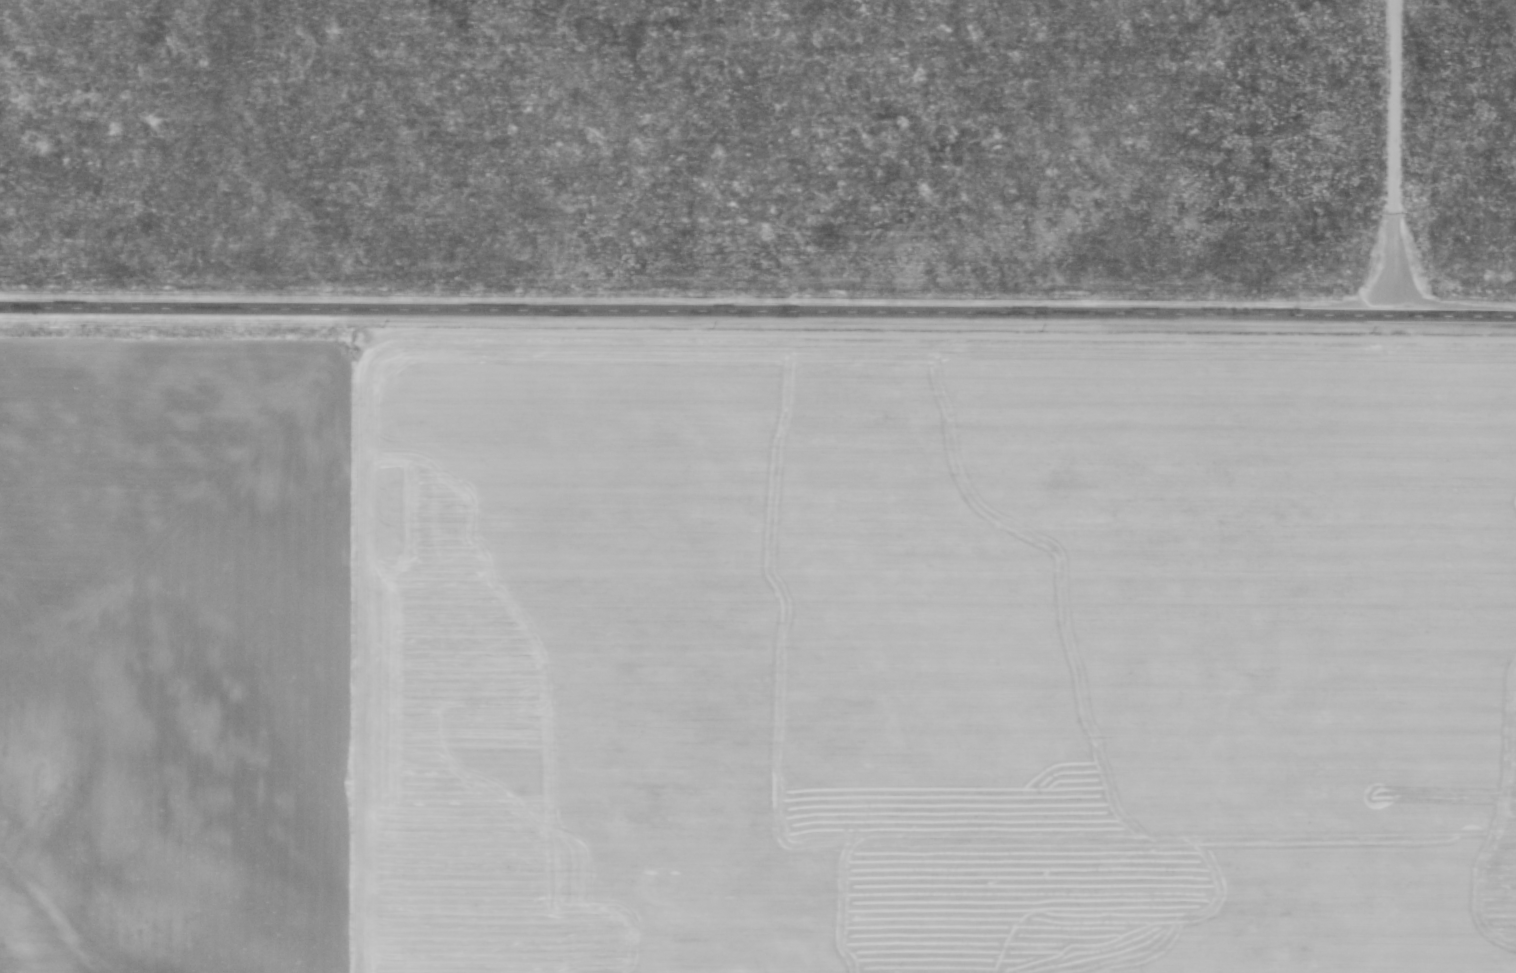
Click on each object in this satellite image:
solar farm: (971, 12)
road: (758, 315)

